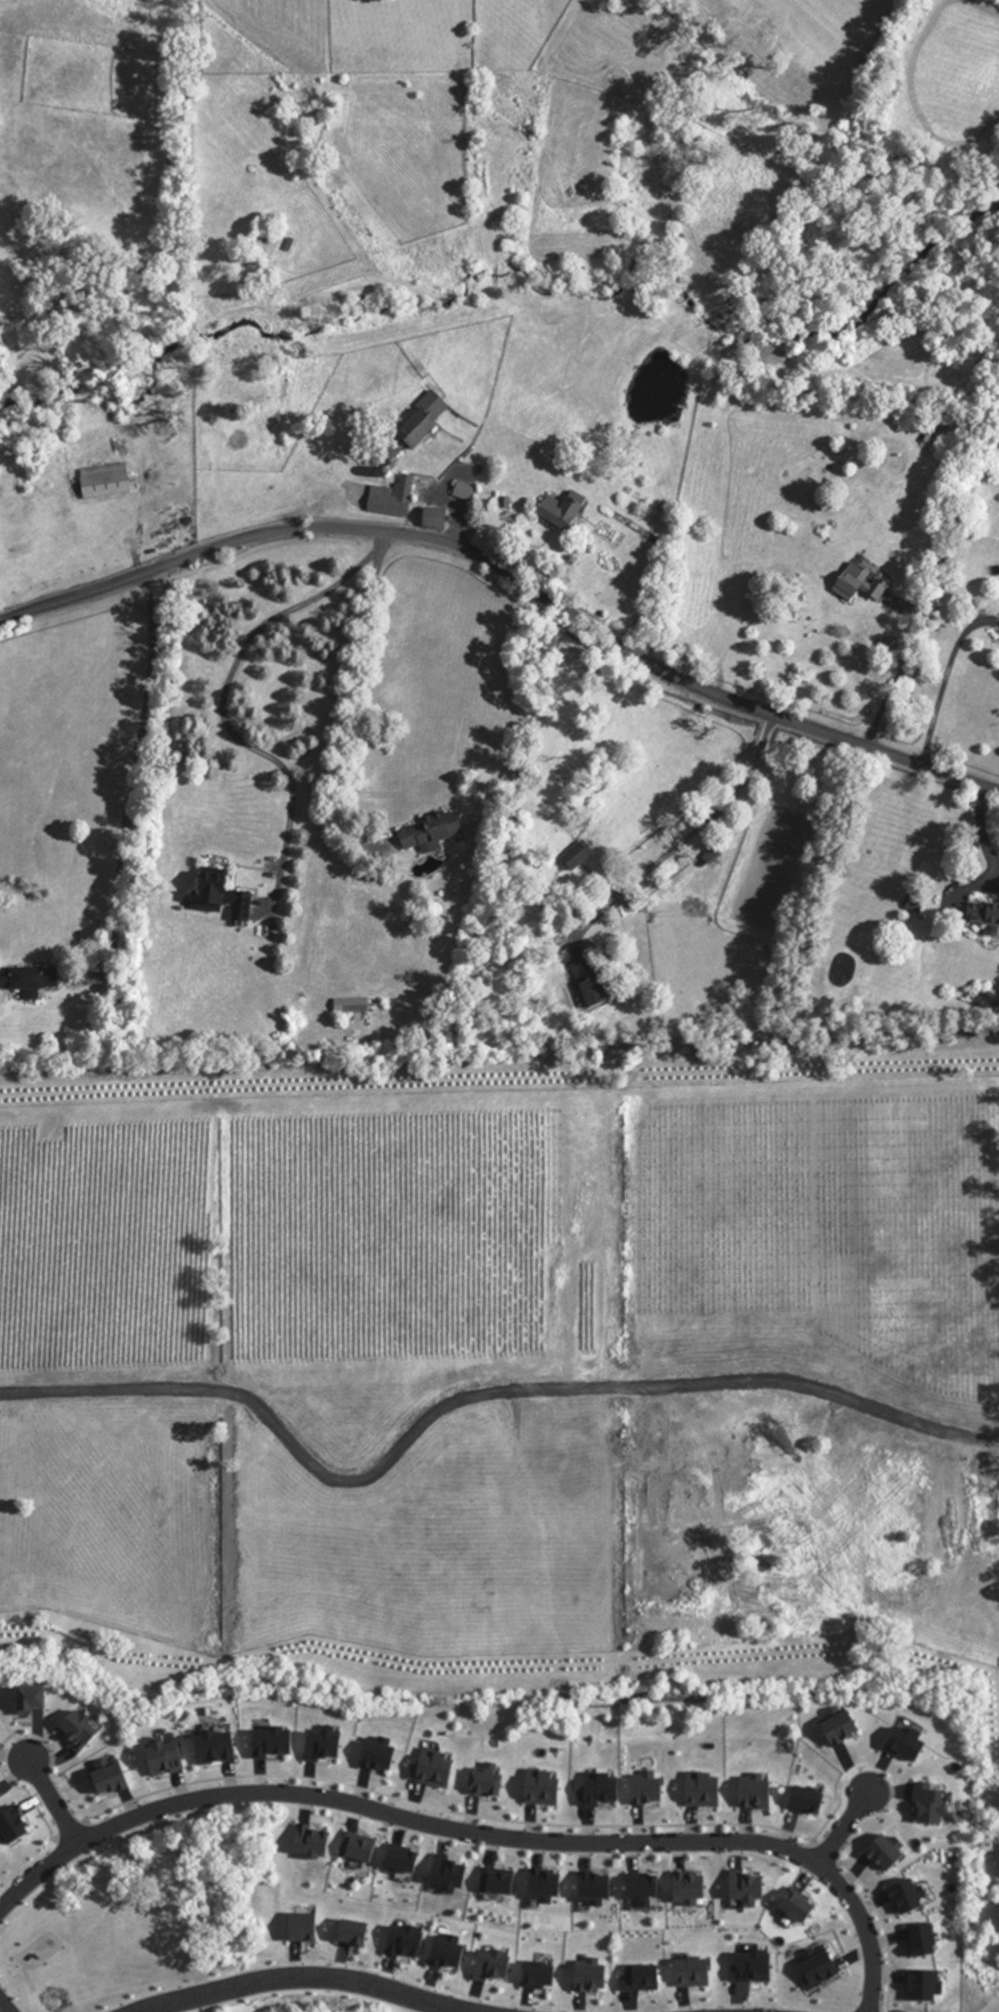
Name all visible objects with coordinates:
building: (420, 429)
building: (934, 442)
building: (106, 482)
building: (466, 492)
building: (394, 499)
building: (566, 512)
building: (437, 519)
road: (512, 576)
building: (855, 583)
road: (898, 674)
road: (941, 686)
road: (221, 704)
road: (357, 726)
road: (135, 760)
road: (983, 828)
road: (692, 831)
building: (432, 833)
building: (578, 856)
building: (219, 894)
building: (986, 919)
building: (589, 980)
building: (29, 981)
building: (341, 1007)
road: (467, 1393)
road: (5, 1742)
road: (31, 1794)
road: (54, 1799)
road: (496, 1818)
road: (843, 1825)
road: (69, 1829)
road: (476, 1834)
road: (826, 1849)
road: (883, 1934)
road: (303, 1979)
road: (6, 2004)

